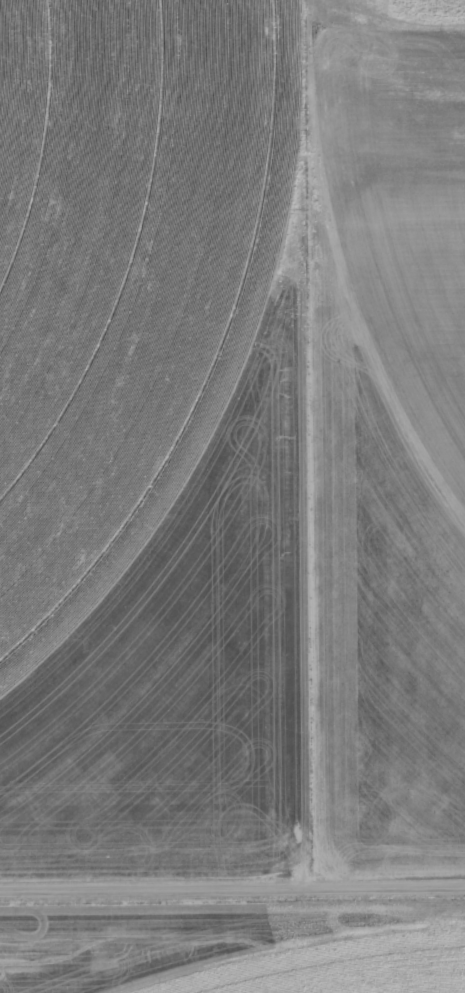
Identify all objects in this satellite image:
road: (232, 887)

